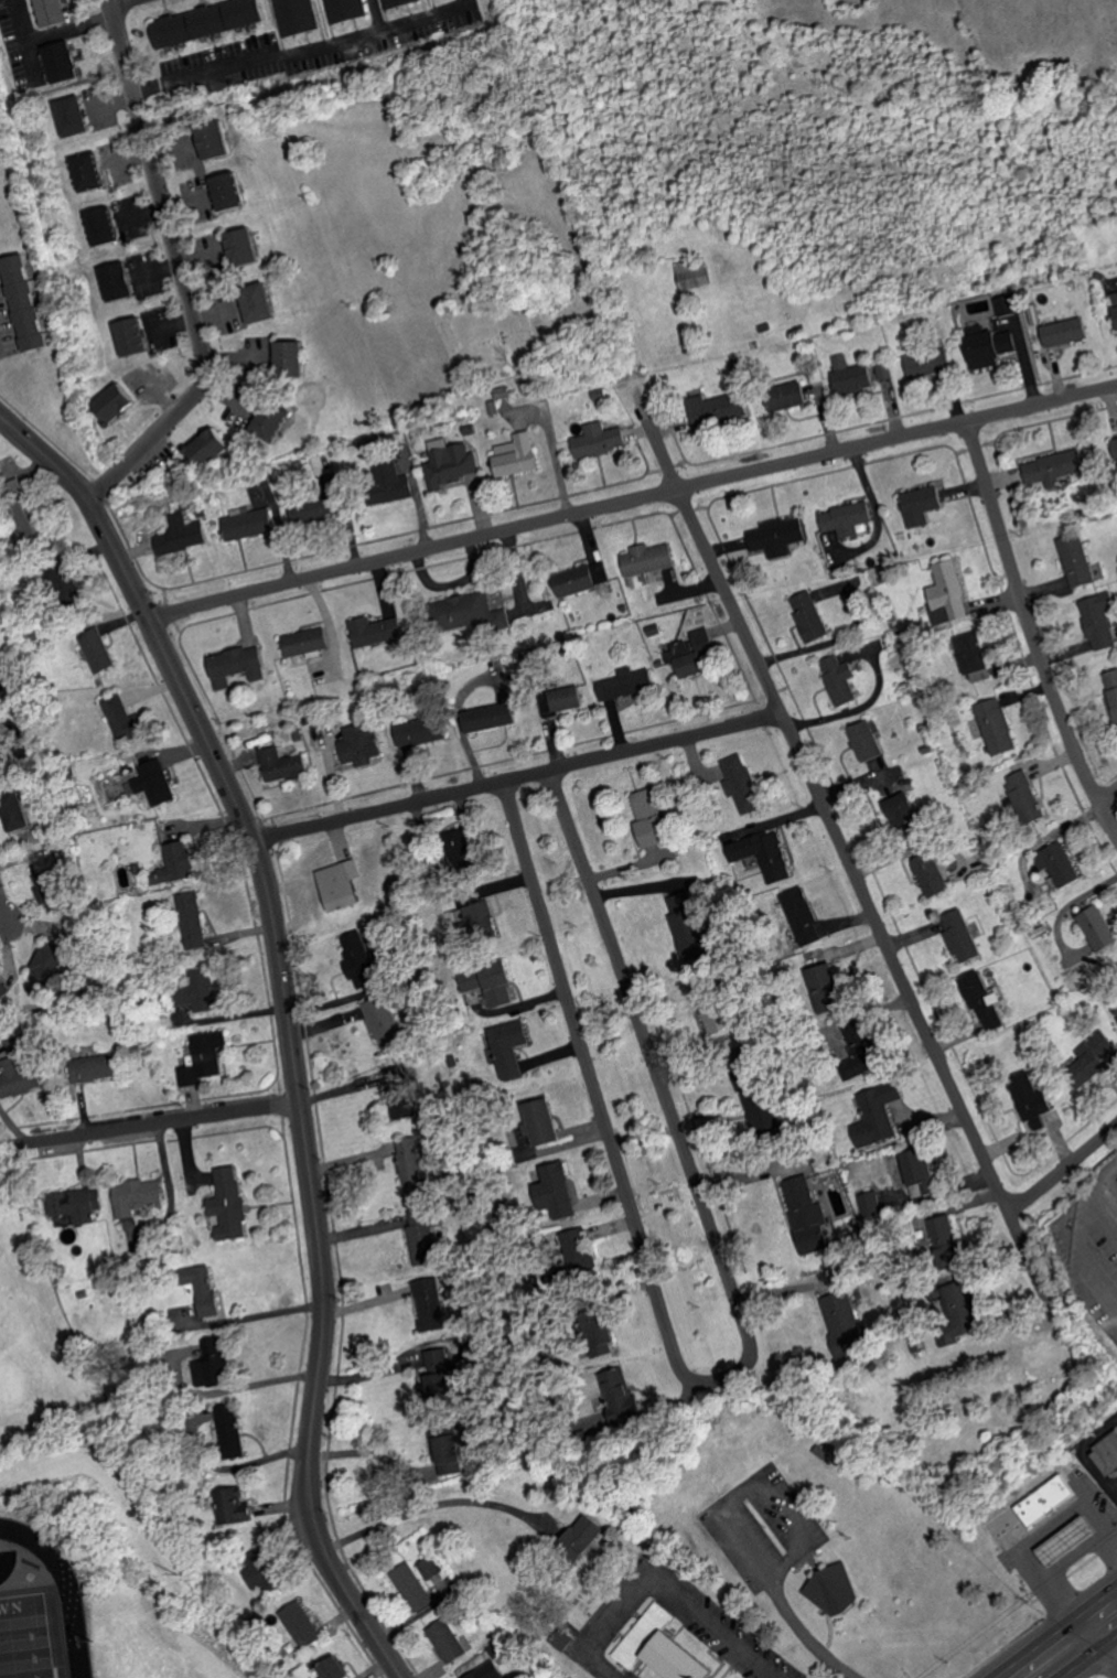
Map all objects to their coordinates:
road: (112, 0)
building: (398, 2)
building: (346, 9)
building: (53, 12)
building: (297, 15)
road: (379, 18)
building: (211, 21)
road: (303, 60)
building: (63, 61)
building: (73, 116)
building: (217, 140)
building: (88, 171)
building: (230, 191)
building: (104, 226)
building: (246, 246)
building: (697, 272)
road: (184, 275)
building: (118, 281)
building: (26, 302)
building: (261, 302)
building: (1115, 302)
building: (1008, 304)
building: (1035, 315)
building: (1066, 332)
building: (133, 336)
building: (994, 348)
building: (293, 357)
building: (928, 363)
building: (884, 370)
building: (852, 375)
building: (792, 395)
building: (117, 402)
building: (720, 409)
building: (273, 421)
building: (1116, 438)
building: (601, 440)
building: (213, 447)
road: (555, 448)
building: (519, 454)
building: (449, 463)
building: (1054, 466)
building: (393, 481)
road: (629, 497)
building: (924, 505)
building: (25, 507)
building: (314, 509)
building: (848, 518)
building: (248, 523)
building: (181, 534)
building: (781, 536)
building: (651, 559)
building: (1080, 560)
building: (840, 563)
building: (584, 578)
building: (950, 591)
building: (466, 609)
building: (812, 616)
building: (1100, 621)
building: (376, 631)
road: (1032, 633)
building: (307, 642)
building: (97, 649)
building: (695, 652)
building: (973, 652)
building: (237, 665)
building: (840, 679)
building: (627, 684)
building: (1113, 689)
building: (566, 702)
building: (491, 717)
building: (123, 718)
building: (997, 727)
building: (420, 731)
building: (869, 741)
building: (361, 743)
building: (4, 750)
building: (282, 765)
road: (512, 782)
building: (742, 782)
building: (151, 783)
building: (1025, 797)
road: (1108, 797)
building: (905, 810)
building: (653, 818)
building: (21, 820)
road: (838, 848)
building: (461, 849)
building: (764, 853)
building: (41, 860)
building: (176, 864)
building: (1060, 864)
building: (934, 874)
building: (342, 885)
building: (52, 890)
building: (806, 916)
building: (193, 919)
building: (483, 921)
building: (687, 926)
building: (1099, 927)
road: (3, 928)
building: (964, 936)
building: (358, 960)
building: (53, 962)
building: (470, 980)
building: (500, 988)
building: (200, 991)
building: (836, 993)
building: (988, 1002)
building: (716, 1009)
building: (1116, 1015)
building: (384, 1024)
road: (282, 1029)
building: (867, 1045)
building: (511, 1047)
building: (205, 1058)
building: (1094, 1062)
building: (95, 1068)
building: (17, 1078)
building: (399, 1089)
building: (1034, 1101)
building: (758, 1104)
building: (881, 1116)
road: (158, 1121)
building: (541, 1122)
building: (409, 1164)
road: (1063, 1171)
building: (922, 1174)
building: (557, 1192)
building: (139, 1196)
building: (873, 1204)
building: (77, 1205)
building: (232, 1205)
building: (807, 1215)
road: (1072, 1235)
building: (422, 1238)
building: (946, 1239)
building: (578, 1249)
building: (205, 1289)
building: (428, 1303)
building: (965, 1310)
road: (251, 1314)
building: (845, 1323)
building: (606, 1336)
building: (212, 1363)
park: (32, 1368)
building: (441, 1368)
road: (718, 1379)
building: (621, 1394)
building: (230, 1430)
road: (361, 1453)
building: (450, 1453)
building: (1107, 1453)
road: (426, 1503)
building: (234, 1507)
building: (1042, 1513)
road: (1096, 1527)
building: (584, 1536)
building: (1061, 1538)
road: (1062, 1539)
building: (261, 1571)
building: (434, 1578)
road: (1044, 1579)
road: (660, 1581)
building: (411, 1586)
building: (835, 1590)
track: (79, 1602)
building: (302, 1624)
road: (1051, 1628)
park: (29, 1636)
building: (448, 1641)
road: (1087, 1646)
building: (659, 1647)
road: (1092, 1659)
building: (335, 1668)
building: (484, 1671)
road: (775, 1675)

